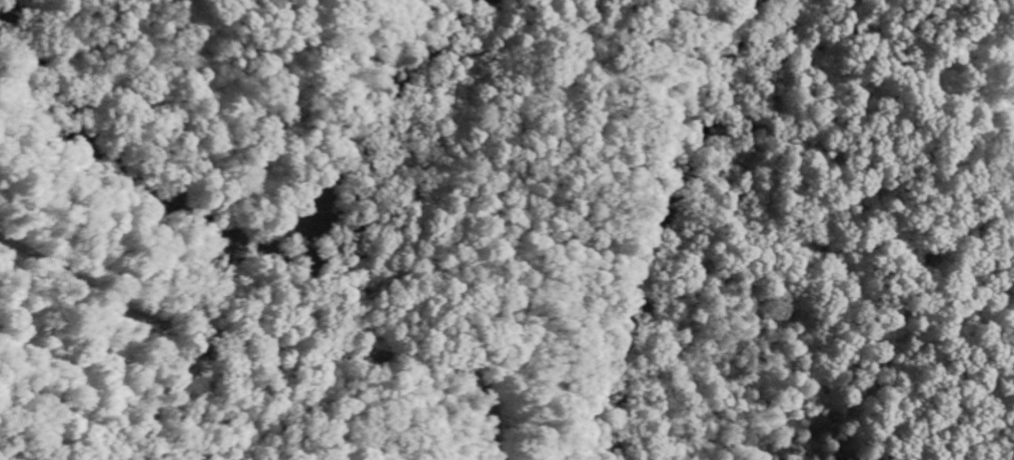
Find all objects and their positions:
road: (271, 348)
road: (131, 411)

